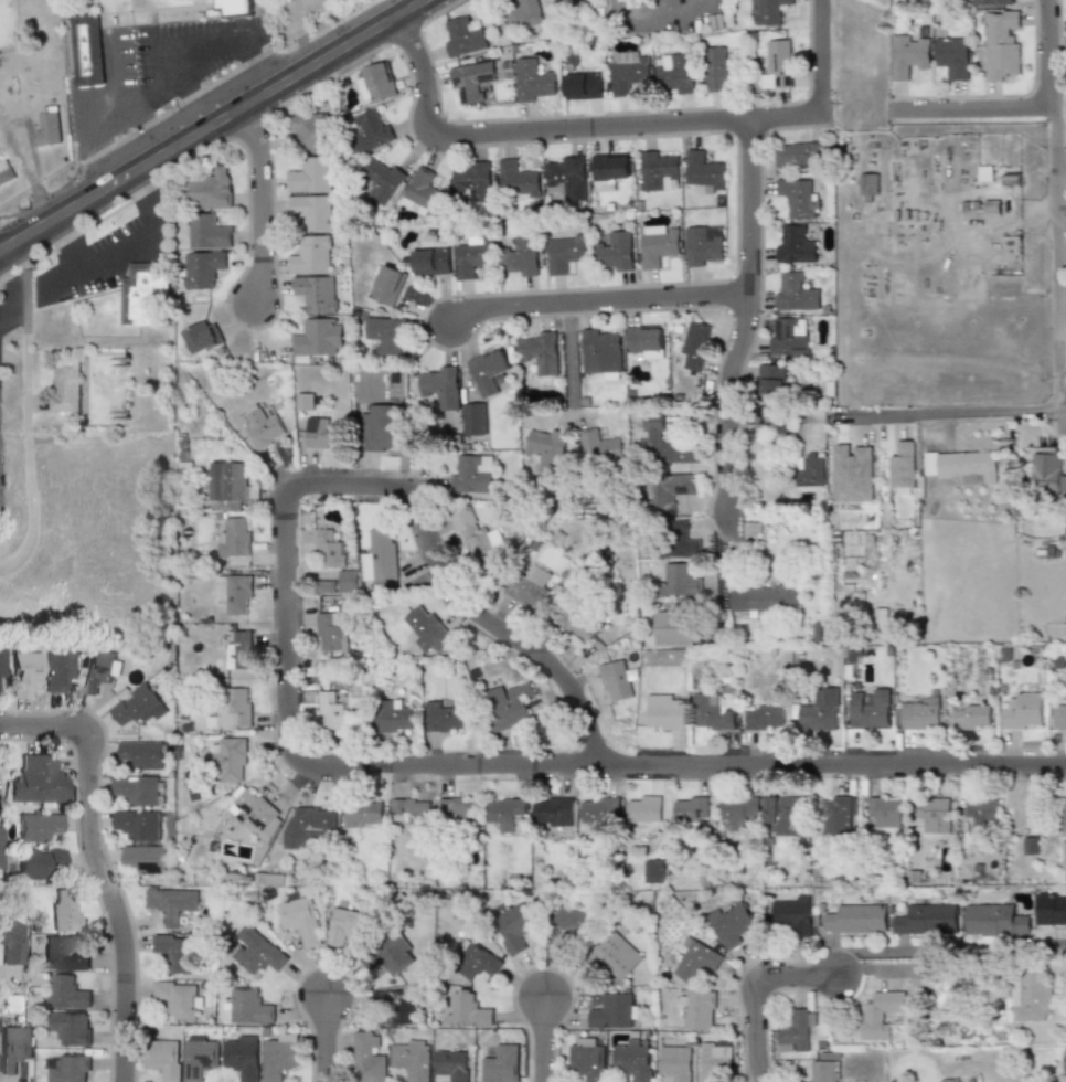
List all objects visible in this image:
building: (990, 2)
building: (233, 8)
building: (767, 12)
building: (524, 13)
building: (463, 38)
building: (1001, 43)
building: (86, 49)
road: (156, 54)
building: (908, 54)
building: (951, 56)
road: (820, 59)
building: (780, 63)
building: (719, 70)
building: (630, 71)
building: (675, 72)
building: (471, 81)
building: (532, 81)
building: (376, 84)
building: (583, 86)
road: (185, 87)
road: (972, 113)
road: (195, 118)
road: (143, 120)
building: (47, 128)
building: (311, 131)
building: (371, 131)
road: (552, 131)
building: (800, 153)
building: (609, 170)
building: (660, 170)
building: (705, 171)
building: (310, 174)
building: (6, 176)
building: (566, 177)
building: (519, 179)
building: (472, 180)
building: (1011, 180)
building: (383, 183)
building: (868, 184)
building: (213, 188)
building: (424, 194)
road: (259, 198)
building: (798, 198)
road: (1053, 204)
building: (991, 208)
building: (312, 211)
building: (209, 231)
building: (704, 245)
building: (795, 245)
road: (118, 246)
building: (659, 246)
building: (617, 251)
building: (565, 254)
building: (311, 255)
building: (475, 255)
building: (520, 257)
building: (431, 262)
building: (202, 268)
building: (387, 285)
building: (796, 291)
building: (316, 293)
building: (146, 294)
road: (15, 295)
road: (594, 301)
road: (744, 323)
building: (386, 335)
building: (203, 336)
building: (789, 337)
building: (316, 338)
building: (646, 339)
building: (694, 346)
building: (603, 351)
building: (540, 352)
road: (573, 358)
building: (490, 372)
building: (770, 383)
building: (65, 386)
building: (446, 389)
building: (305, 402)
road: (945, 410)
road: (775, 412)
building: (476, 420)
building: (263, 425)
building: (323, 434)
building: (379, 435)
building: (667, 443)
road: (26, 446)
building: (600, 446)
building: (547, 448)
building: (902, 465)
building: (963, 465)
building: (809, 468)
building: (852, 473)
building: (1047, 473)
building: (472, 474)
building: (230, 485)
building: (669, 491)
building: (235, 538)
building: (476, 538)
building: (674, 541)
building: (331, 549)
building: (383, 553)
road: (724, 575)
building: (682, 580)
building: (348, 581)
building: (326, 586)
building: (530, 587)
building: (235, 593)
building: (765, 597)
building: (880, 619)
building: (575, 626)
building: (678, 627)
building: (333, 630)
building: (425, 632)
road: (486, 639)
building: (238, 651)
building: (0, 665)
building: (97, 669)
building: (56, 670)
building: (22, 672)
building: (618, 681)
building: (137, 704)
building: (237, 708)
building: (507, 709)
building: (822, 710)
building: (330, 712)
building: (665, 712)
building: (714, 712)
building: (1023, 712)
building: (871, 714)
building: (920, 715)
building: (392, 717)
building: (443, 717)
building: (972, 717)
building: (1059, 717)
building: (767, 718)
building: (142, 754)
building: (233, 760)
road: (478, 765)
building: (35, 782)
building: (138, 789)
building: (644, 808)
building: (693, 808)
building: (1024, 808)
building: (457, 809)
building: (598, 809)
building: (742, 810)
building: (887, 810)
building: (982, 810)
building: (412, 811)
building: (504, 811)
building: (554, 811)
building: (841, 811)
building: (259, 814)
building: (788, 814)
building: (935, 814)
building: (363, 815)
building: (1063, 820)
building: (139, 825)
building: (310, 825)
building: (34, 826)
building: (1030, 845)
building: (1064, 851)
building: (146, 859)
building: (38, 862)
road: (94, 863)
building: (655, 871)
building: (271, 879)
building: (174, 903)
building: (1051, 909)
building: (62, 910)
building: (795, 914)
building: (857, 919)
building: (303, 920)
building: (928, 920)
building: (995, 920)
building: (732, 923)
building: (348, 925)
building: (565, 927)
building: (513, 930)
building: (11, 941)
road: (1041, 942)
building: (177, 951)
building: (396, 955)
building: (616, 955)
building: (64, 956)
building: (264, 956)
building: (697, 961)
building: (478, 963)
road: (754, 988)
building: (68, 991)
building: (1031, 993)
building: (181, 999)
building: (253, 1006)
building: (407, 1007)
building: (699, 1008)
building: (469, 1010)
building: (614, 1011)
building: (881, 1012)
building: (72, 1028)
building: (797, 1030)
road: (323, 1038)
road: (541, 1039)
building: (17, 1044)
building: (203, 1057)
building: (244, 1057)
building: (283, 1057)
building: (164, 1059)
building: (370, 1059)
building: (413, 1059)
building: (587, 1059)
building: (715, 1059)
building: (633, 1060)
building: (502, 1063)
building: (675, 1063)
building: (454, 1064)
building: (824, 1067)
building: (72, 1068)
building: (1062, 1076)

